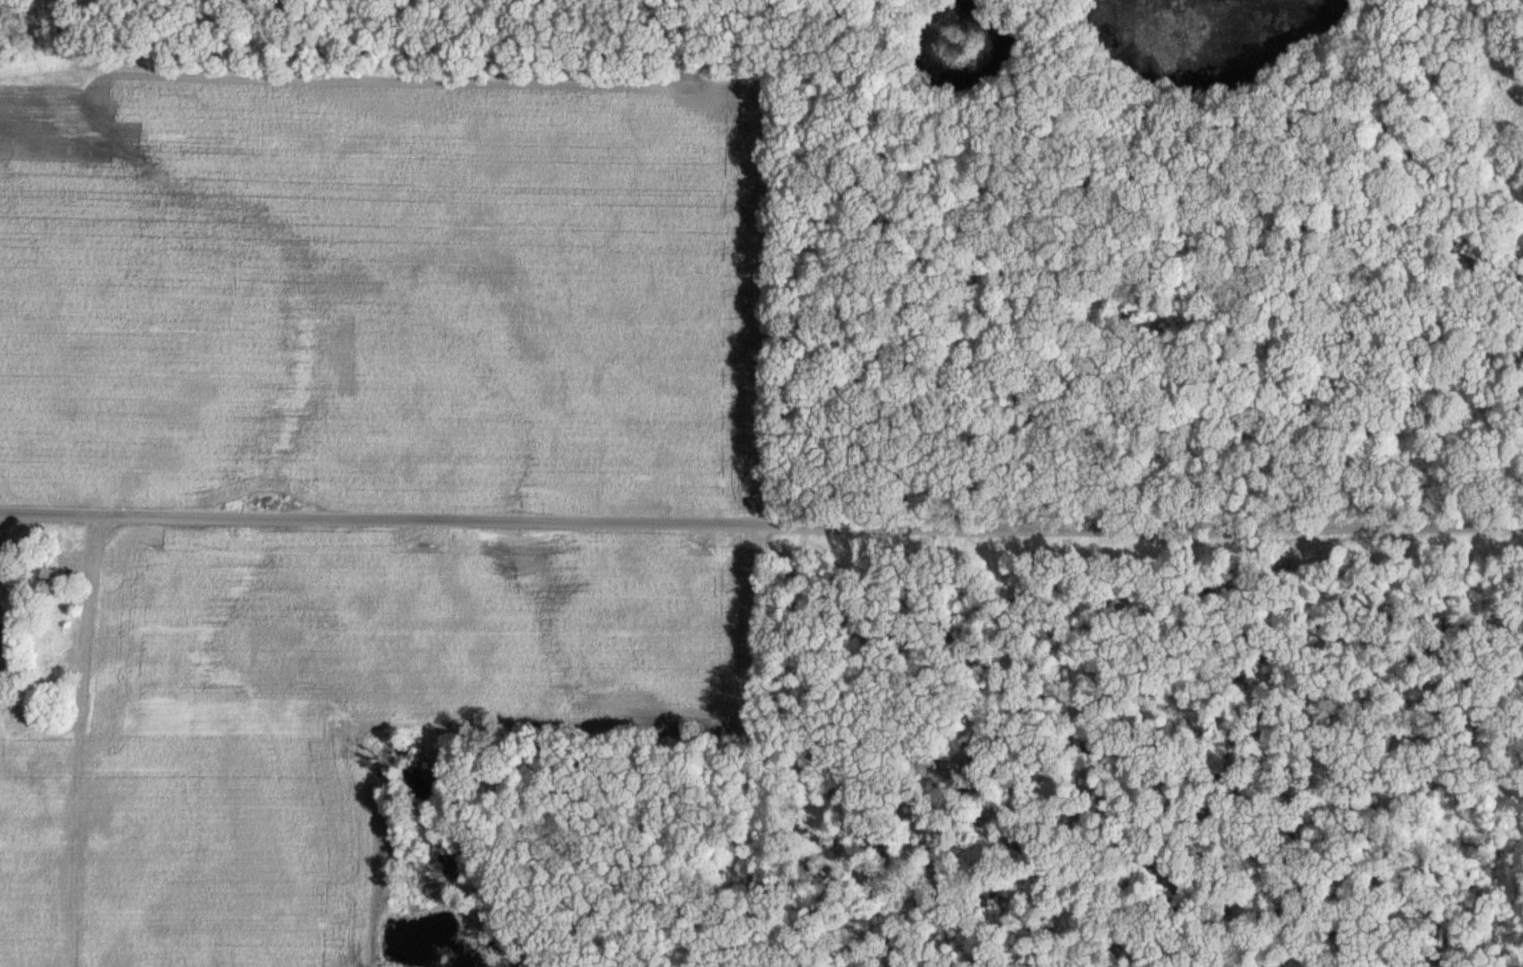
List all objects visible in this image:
road: (761, 526)

